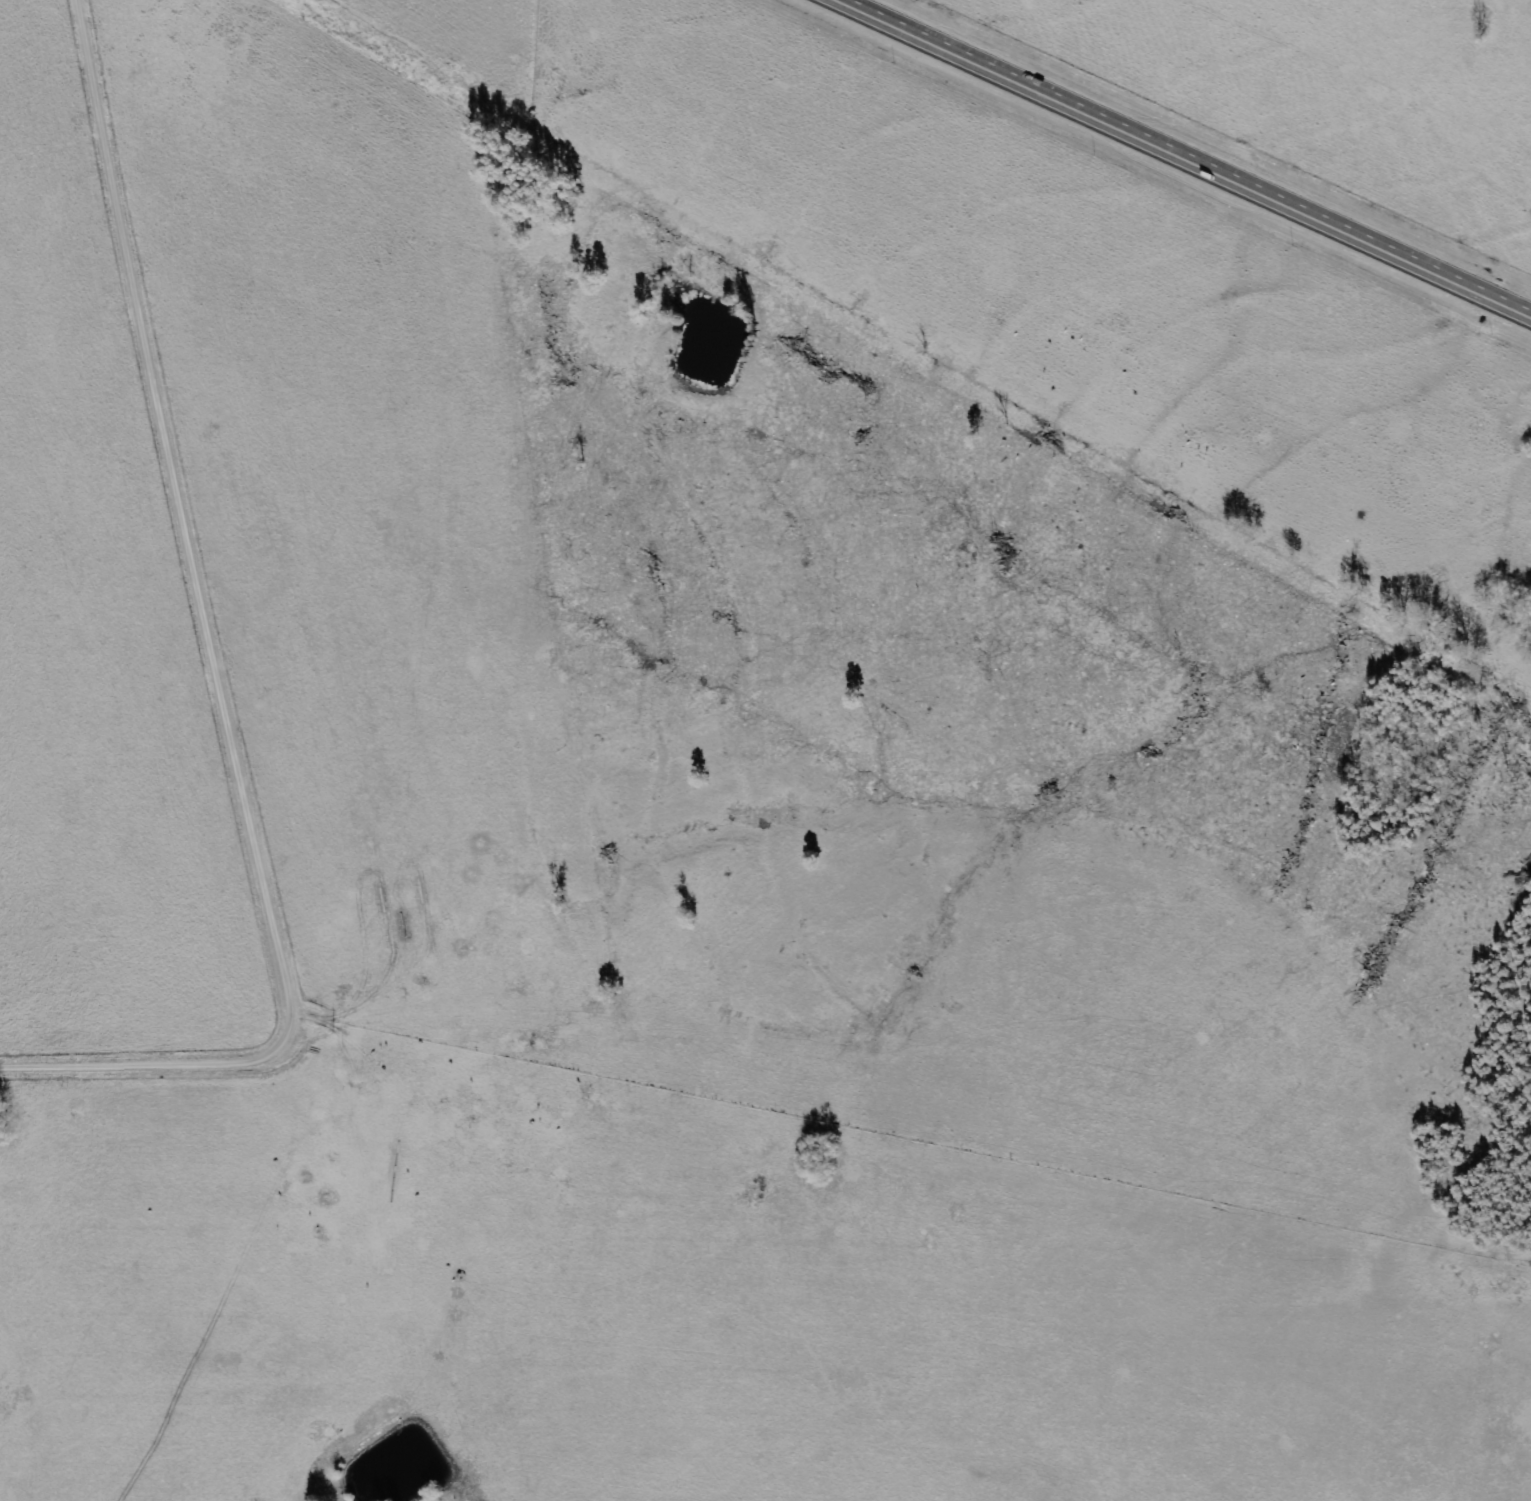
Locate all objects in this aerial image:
road: (1190, 153)
road: (221, 669)

